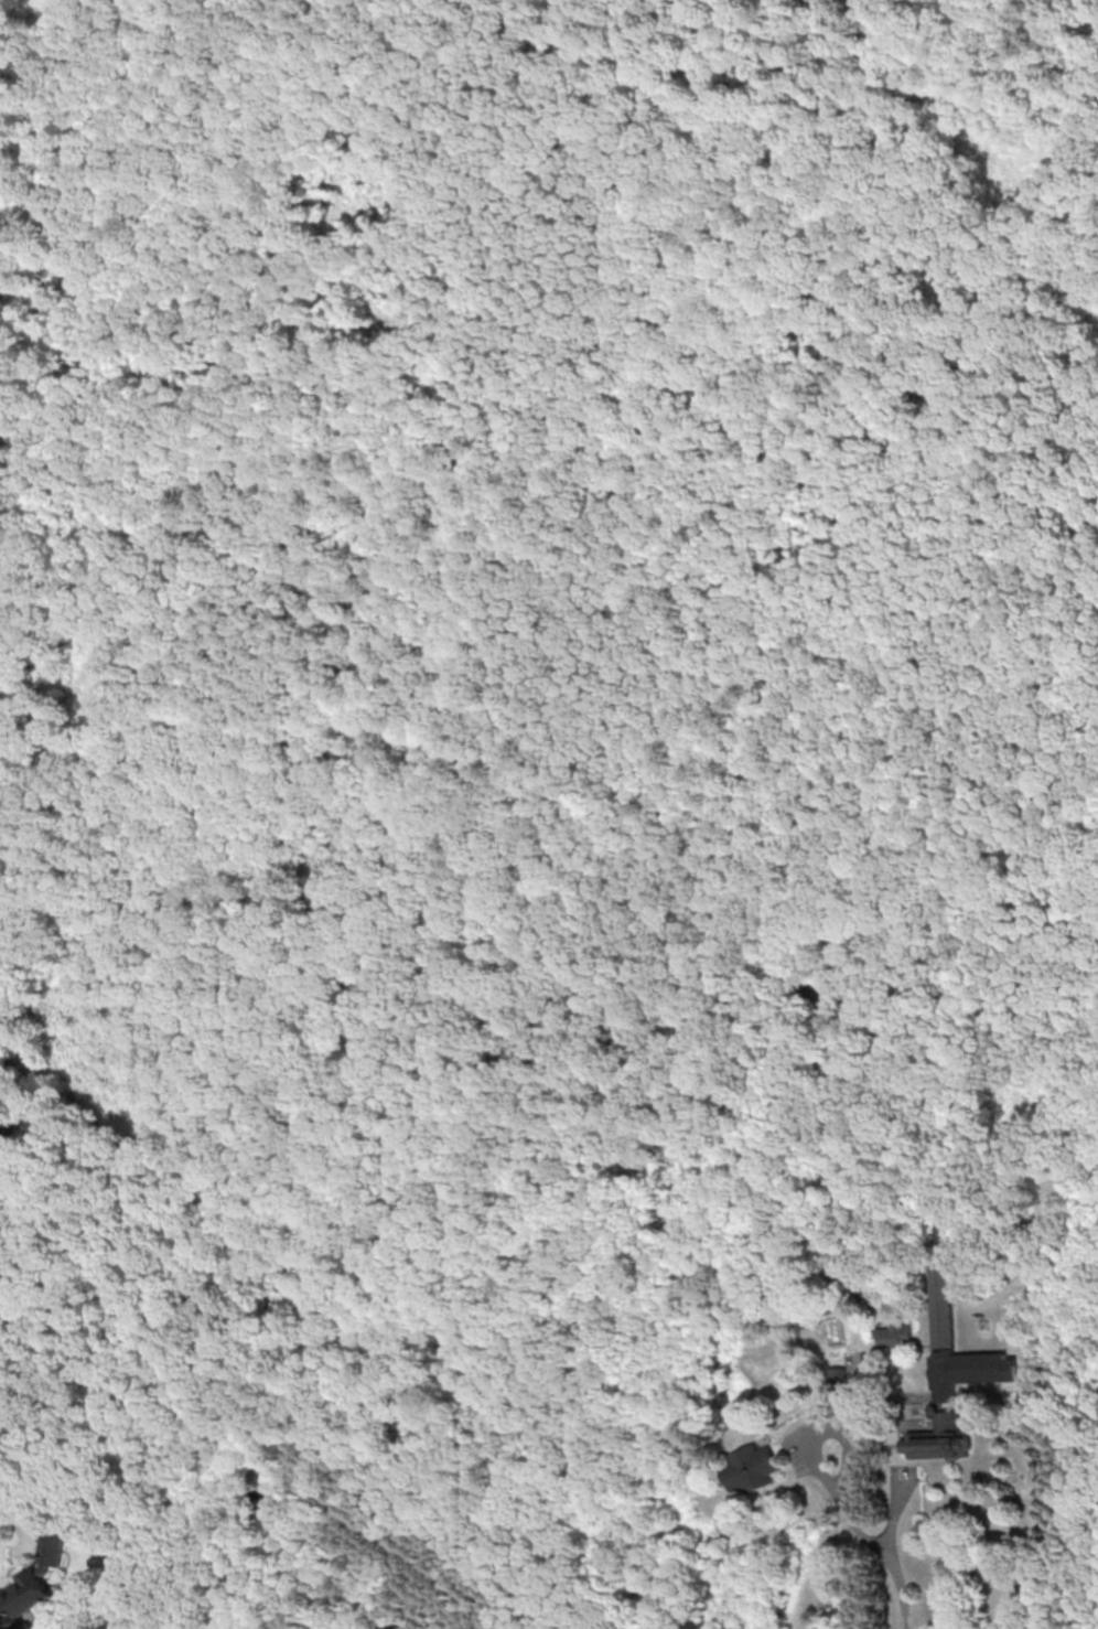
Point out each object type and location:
building: (940, 1309)
building: (894, 1335)
building: (1012, 1369)
road: (854, 1405)
road: (829, 1436)
building: (922, 1443)
building: (750, 1467)
road: (13, 1521)
road: (889, 1558)
building: (22, 1595)

